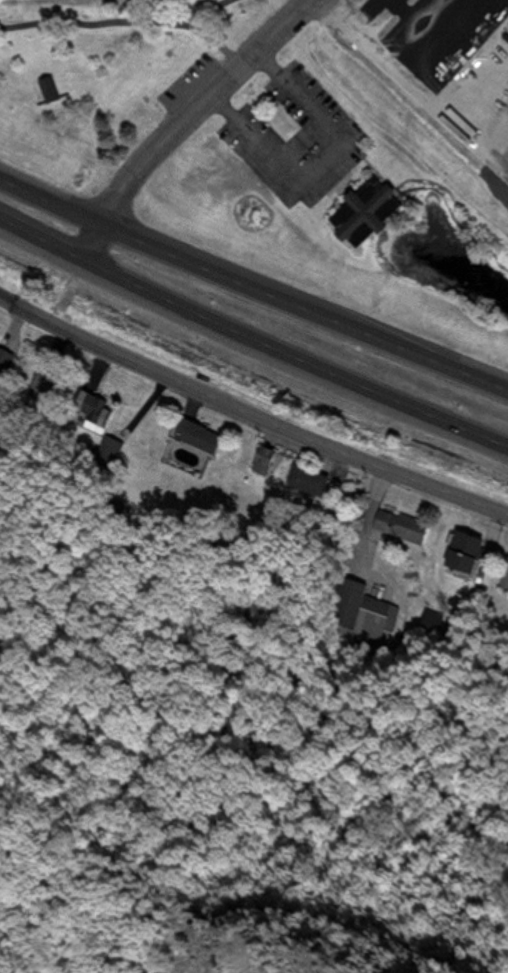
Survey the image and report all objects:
road: (116, 22)
road: (214, 42)
park: (106, 75)
parking lot: (187, 81)
building: (52, 88)
road: (403, 116)
road: (184, 120)
parking lot: (298, 135)
road: (323, 163)
building: (505, 184)
road: (48, 200)
building: (367, 213)
road: (39, 238)
road: (208, 270)
road: (414, 352)
building: (3, 357)
road: (291, 357)
building: (50, 383)
building: (87, 408)
road: (249, 418)
building: (202, 436)
building: (262, 462)
building: (311, 479)
building: (402, 525)
building: (469, 550)
building: (507, 569)
building: (359, 609)
road: (246, 740)
park: (230, 773)
road: (122, 867)
road: (301, 958)

